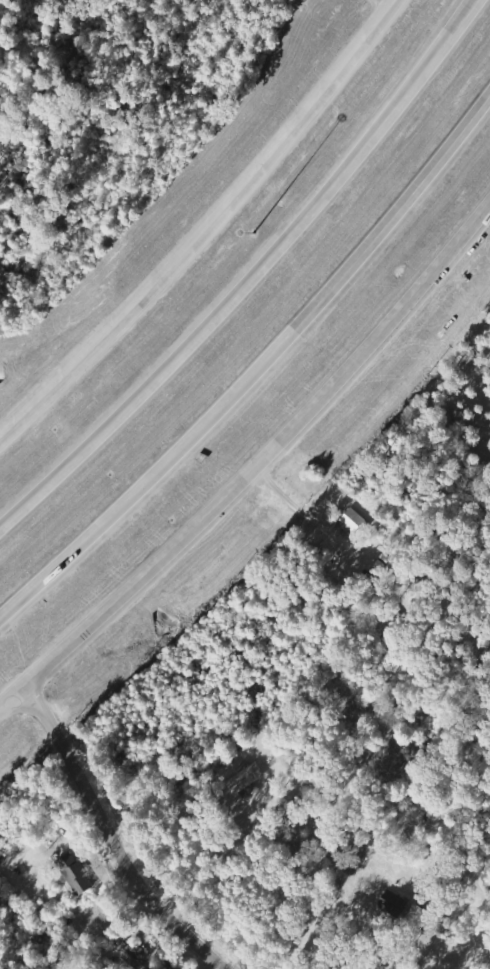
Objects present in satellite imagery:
road: (202, 232)
road: (251, 278)
road: (256, 365)
road: (257, 460)
building: (350, 519)
building: (245, 777)
road: (106, 837)
building: (76, 873)
building: (415, 915)

